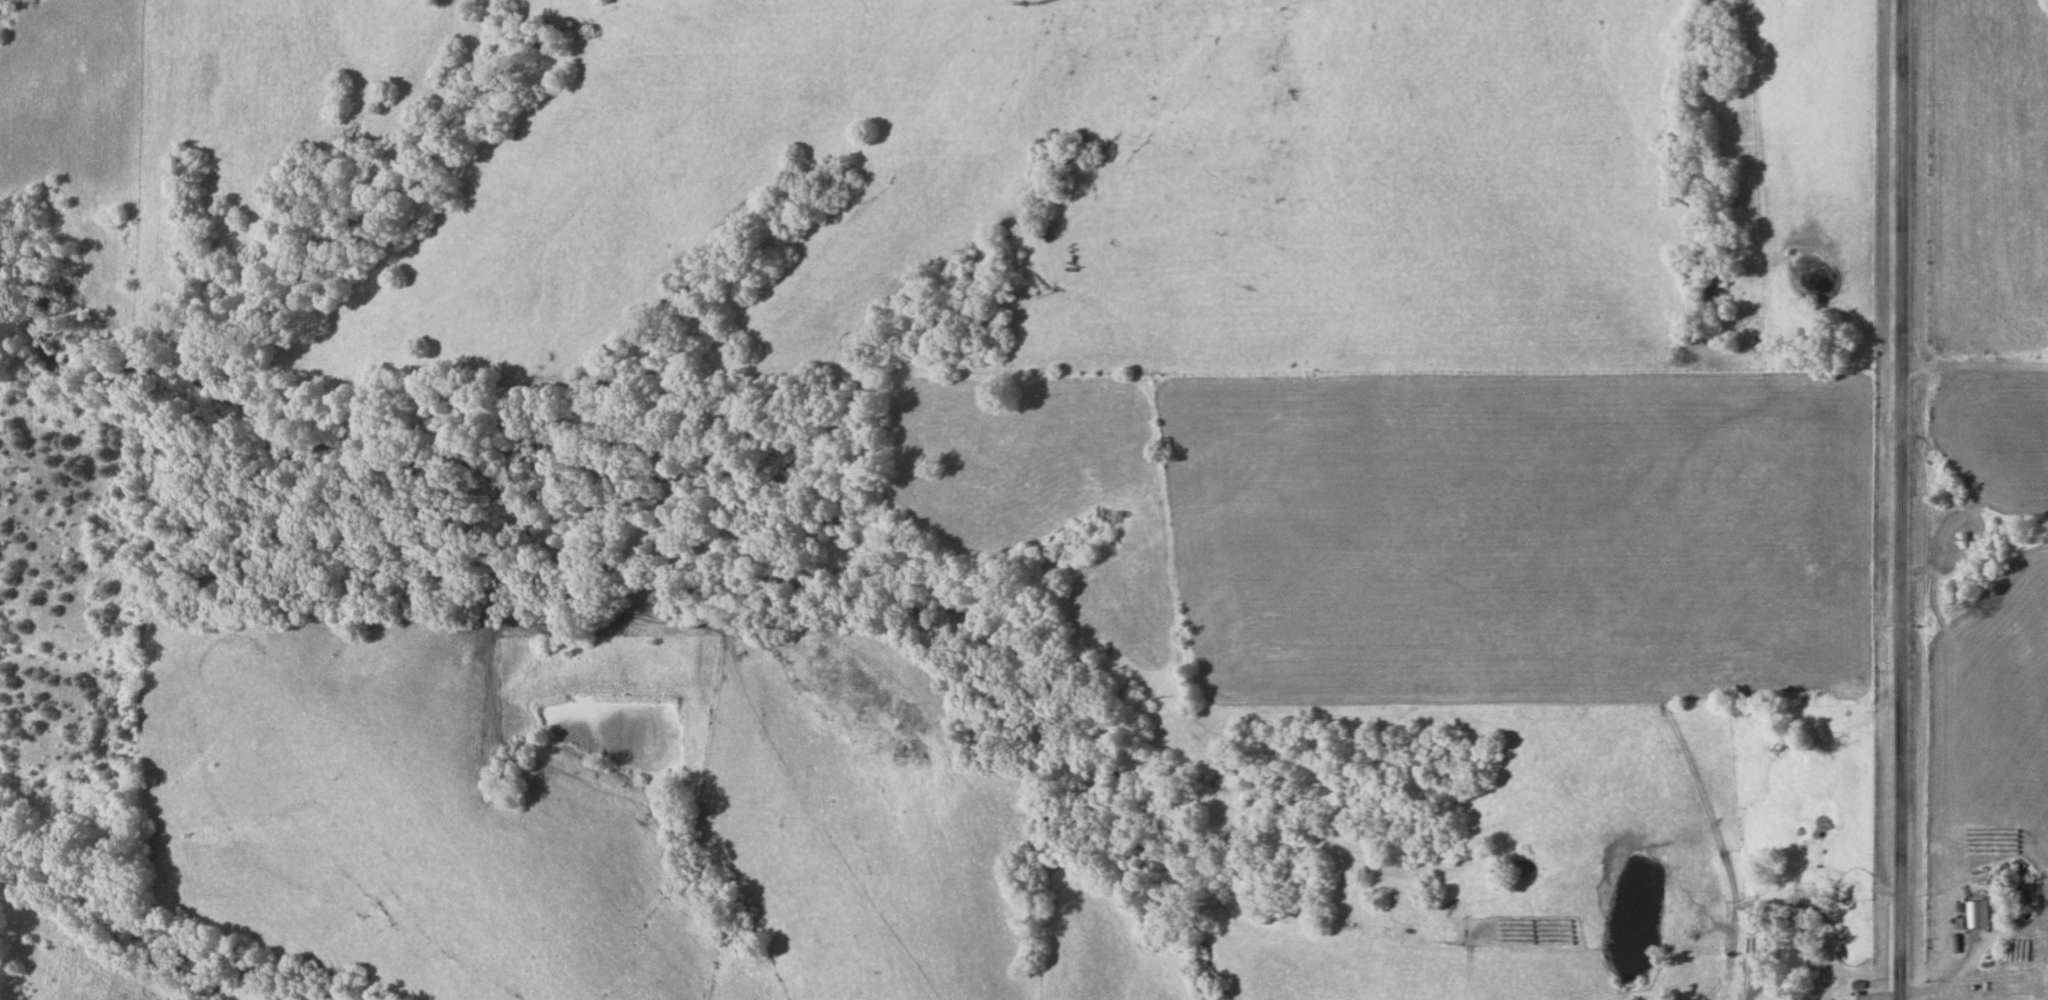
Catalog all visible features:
road: (1900, 185)
road: (1975, 370)
road: (1901, 685)
building: (1966, 923)

